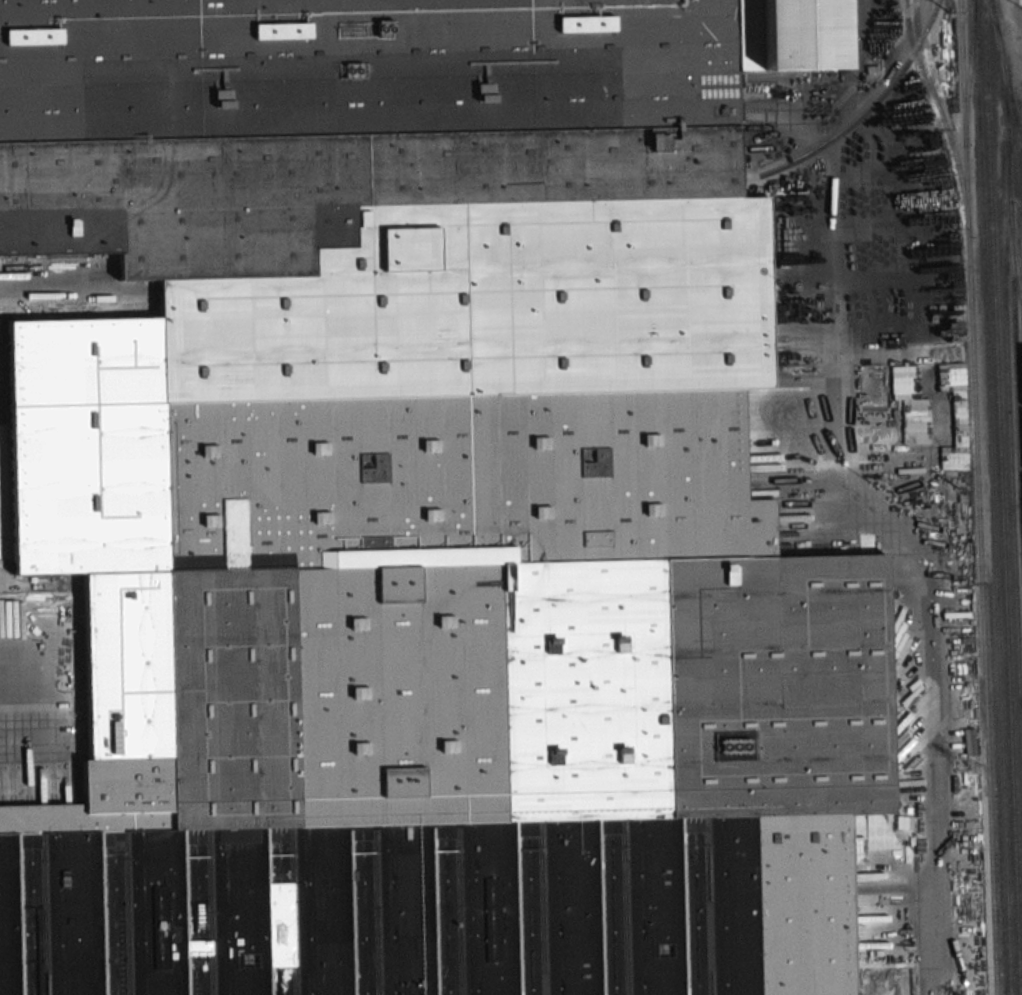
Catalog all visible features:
power tower: (950, 14)
railway: (922, 58)
railway: (968, 67)
railway: (1006, 74)
railway: (937, 107)
railway: (861, 116)
railway: (1018, 125)
railway: (1009, 179)
power tower: (953, 227)
building: (390, 279)
railway: (1017, 377)
railway: (1012, 487)
power tower: (958, 489)
railway: (978, 497)
railway: (992, 497)
railway: (1001, 497)
road: (921, 587)
power tower: (965, 767)
building: (461, 782)

